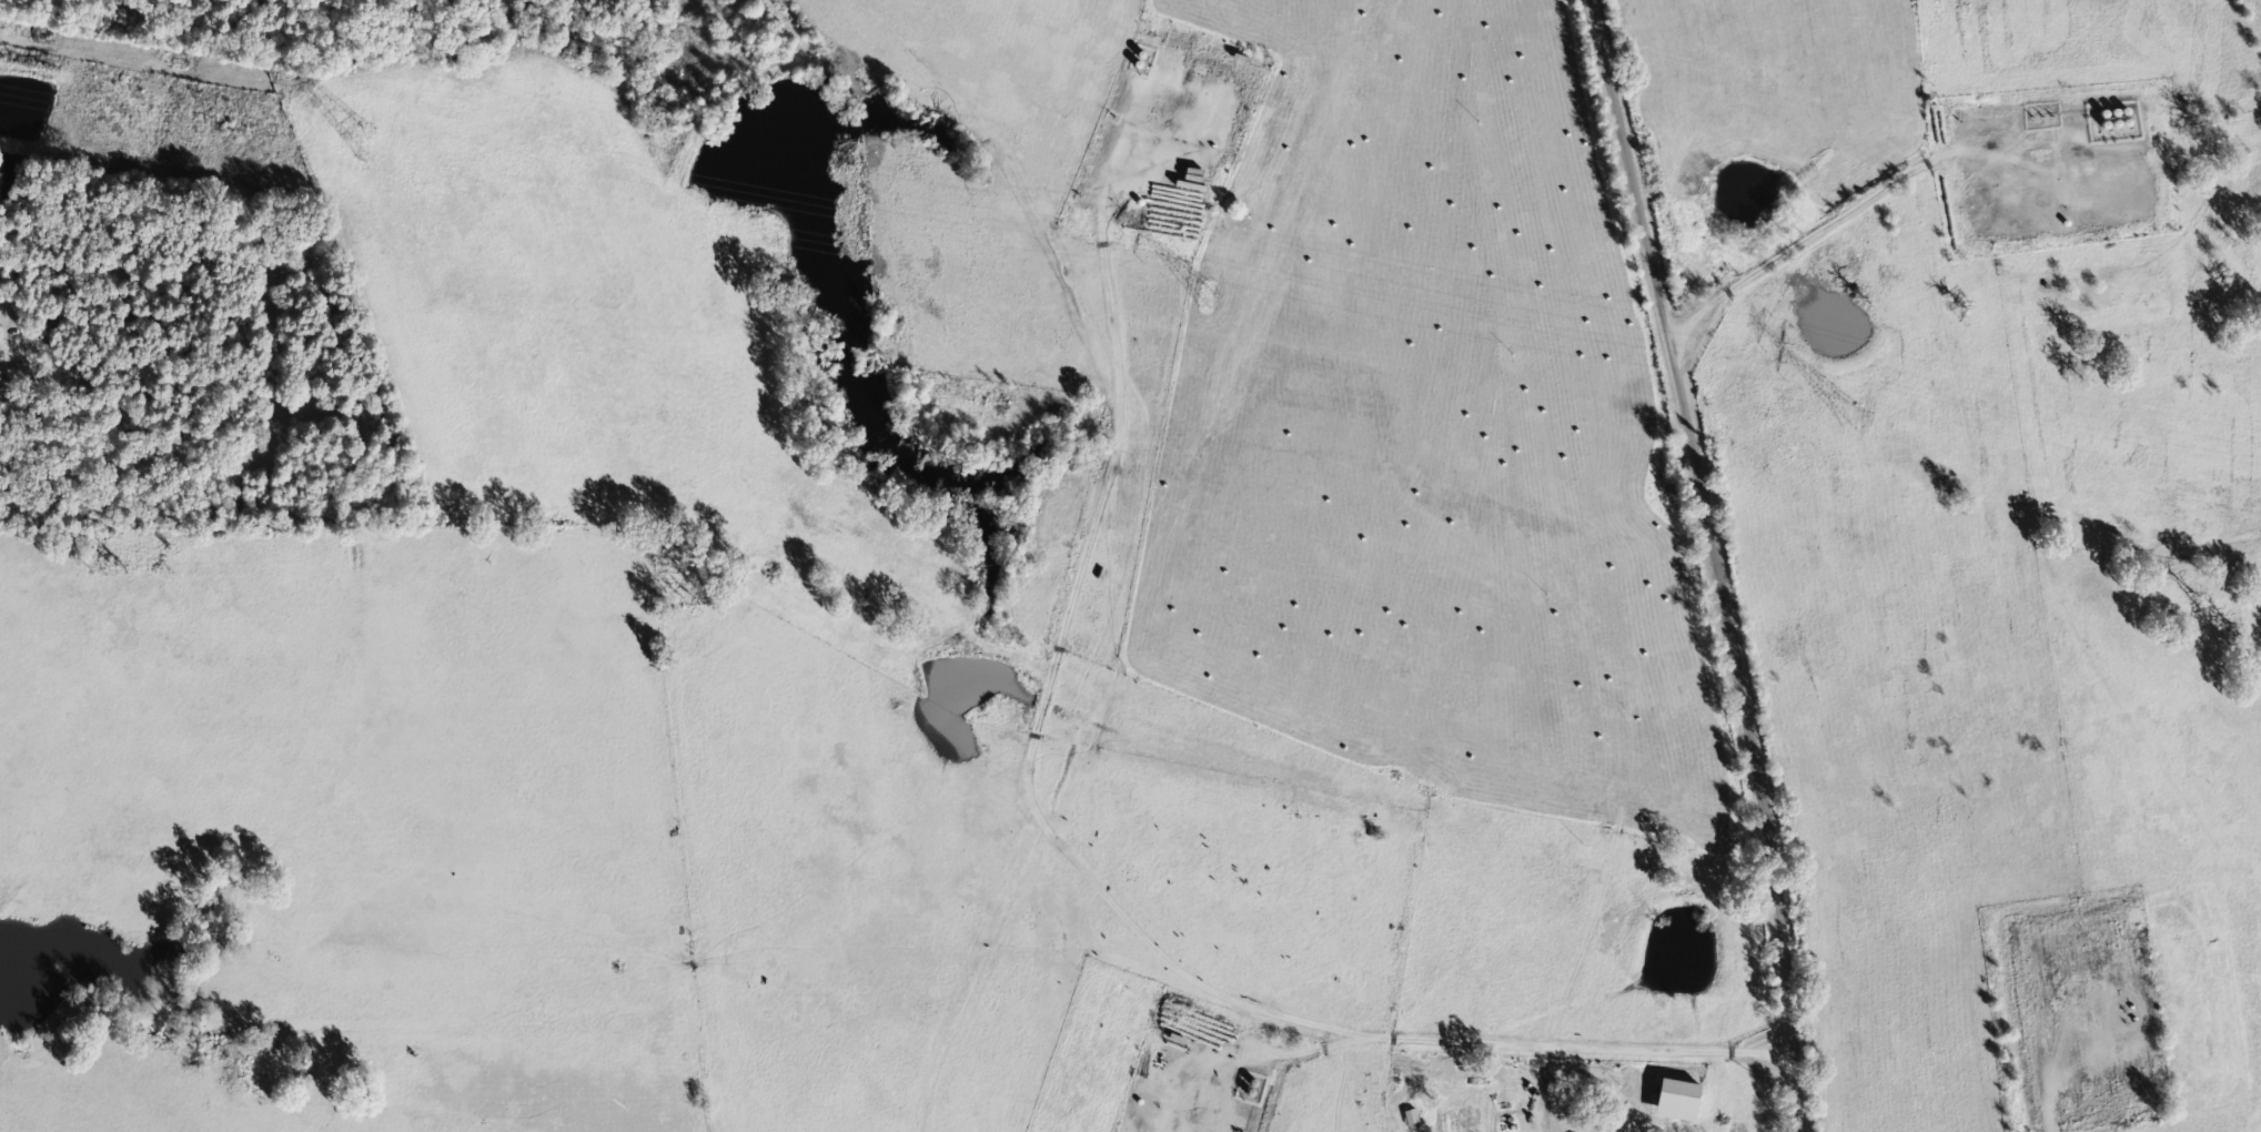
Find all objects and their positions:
power tower: (341, 137)
power tower: (1209, 294)
building: (1, 365)
power tower: (1849, 412)
road: (1710, 560)
road: (1070, 684)
building: (1684, 1101)
building: (1414, 1118)

